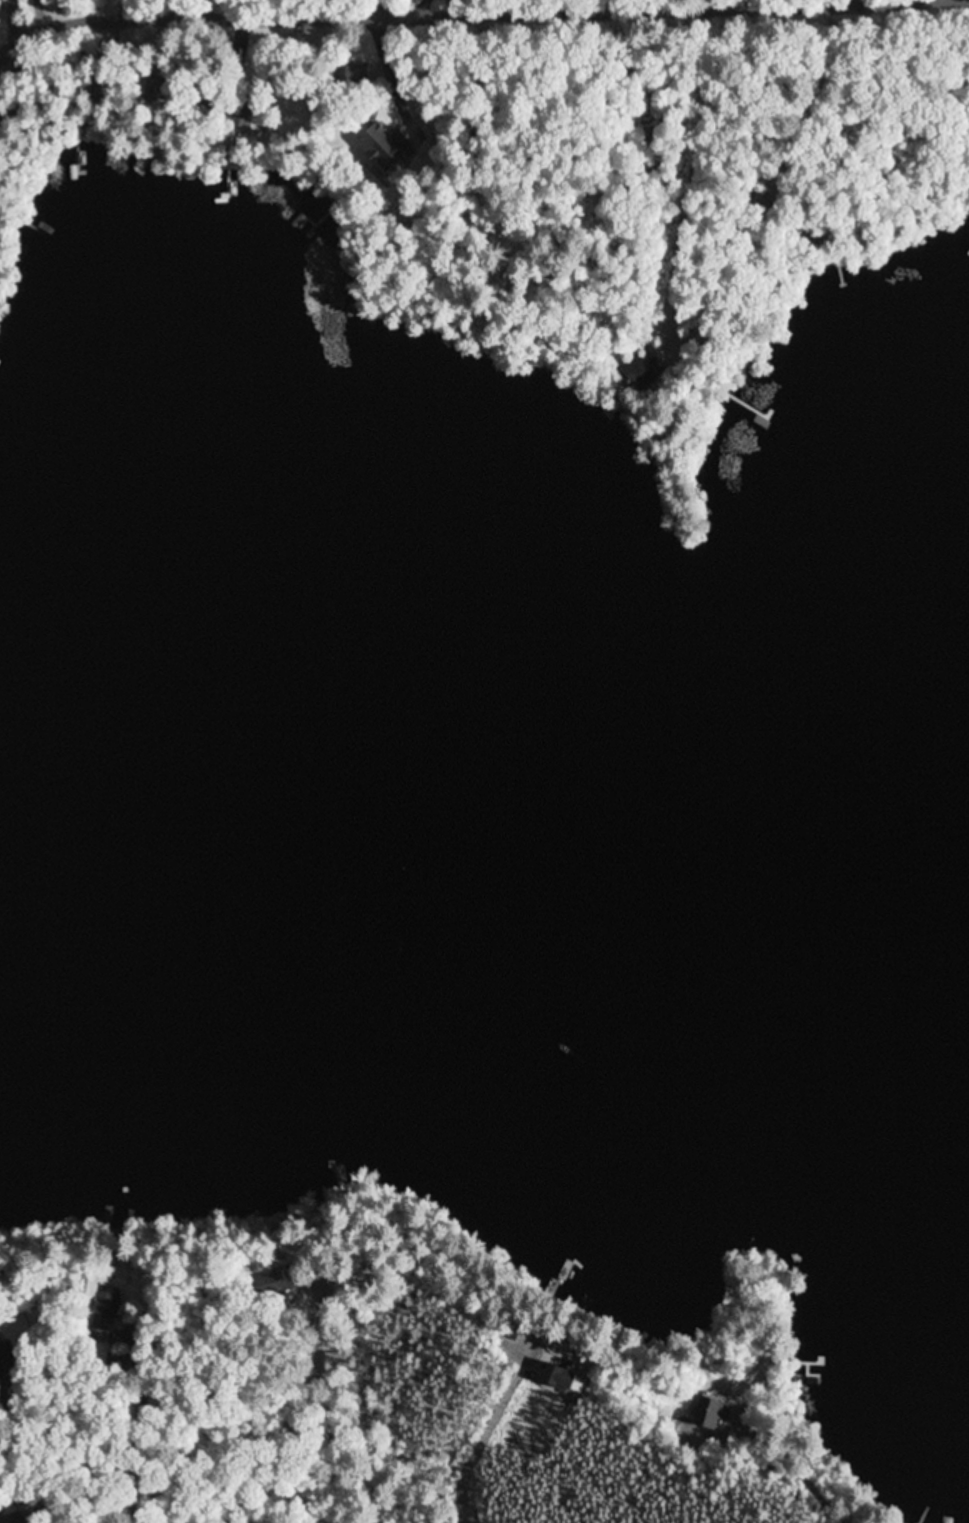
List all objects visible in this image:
road: (480, 17)
building: (355, 74)
building: (157, 88)
road: (490, 103)
building: (243, 112)
building: (384, 147)
building: (638, 370)
building: (276, 1283)
building: (104, 1317)
building: (2, 1358)
building: (336, 1363)
building: (558, 1379)
building: (708, 1414)
road: (137, 1443)
building: (33, 1507)

